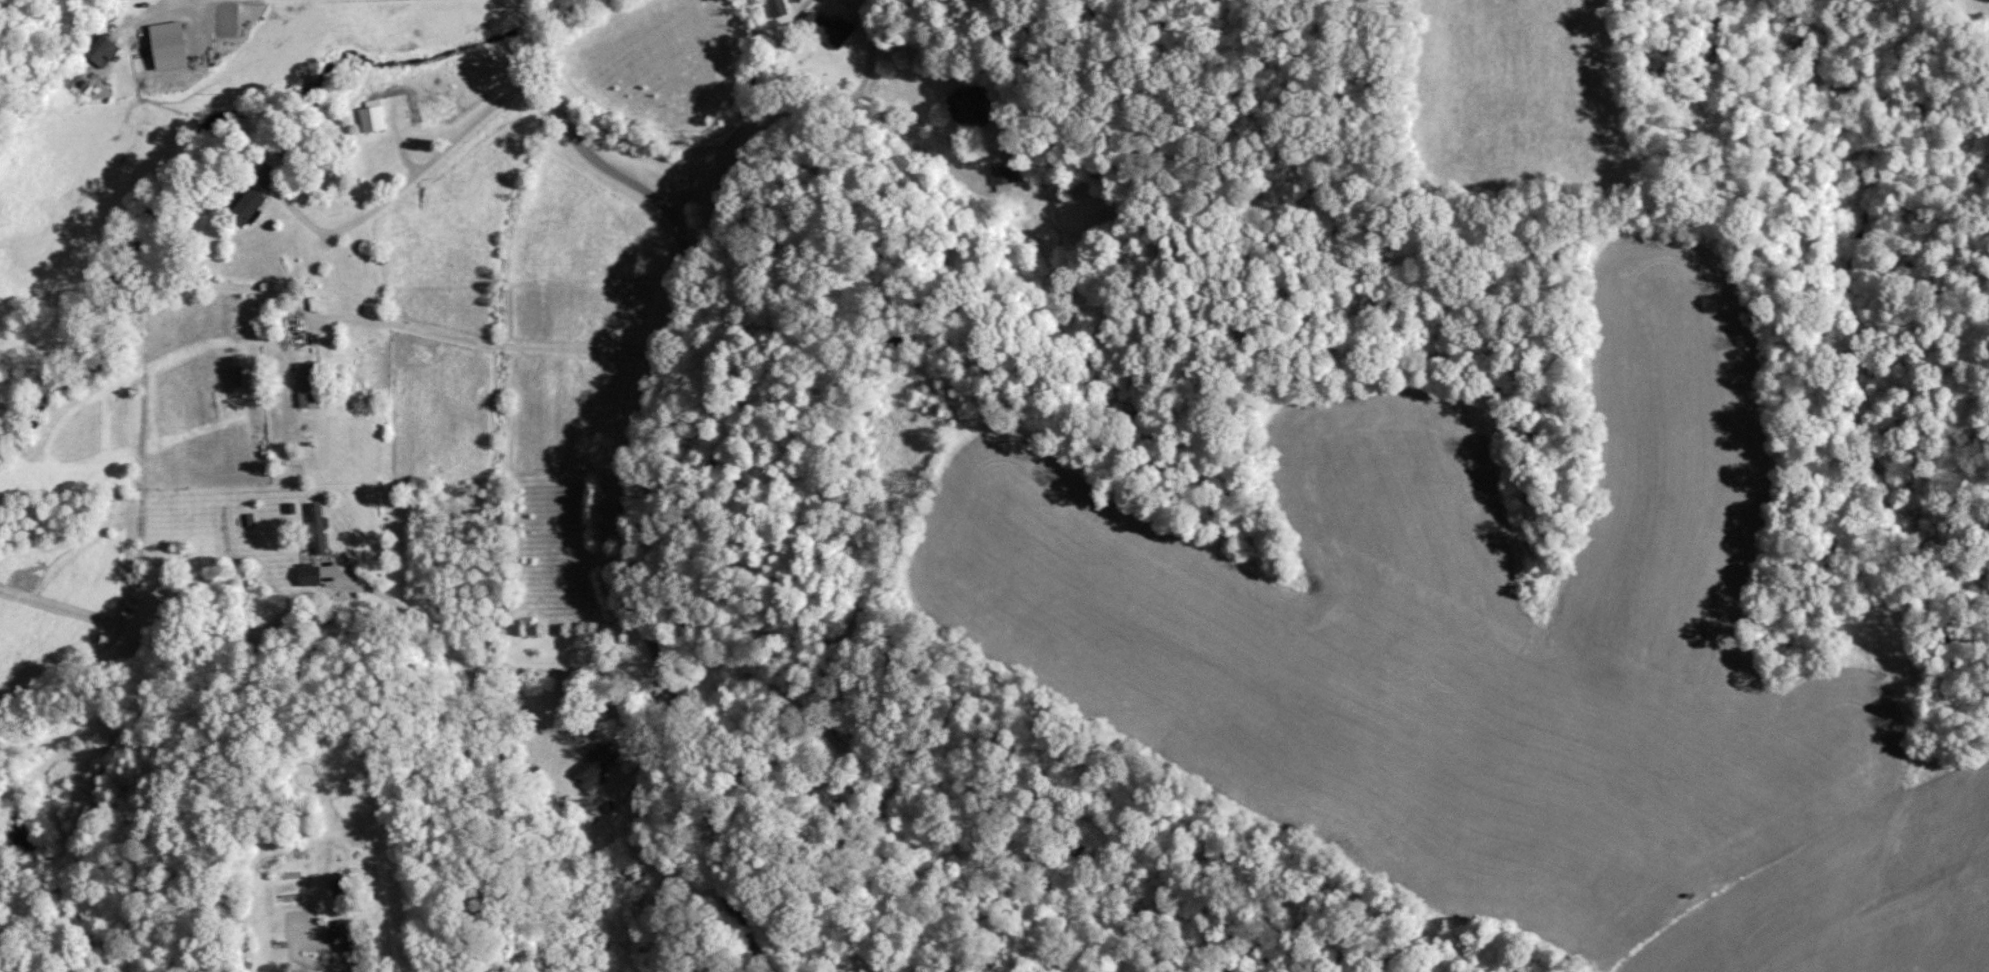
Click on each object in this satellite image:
road: (183, 0)
building: (779, 8)
building: (828, 28)
building: (102, 49)
road: (868, 58)
building: (963, 106)
building: (373, 114)
road: (909, 140)
road: (750, 164)
building: (1001, 172)
road: (417, 176)
building: (249, 204)
road: (478, 344)
building: (308, 383)
road: (625, 466)
building: (317, 527)
building: (310, 575)
road: (415, 618)
road: (467, 731)
building: (596, 763)
building: (342, 933)
road: (293, 953)

